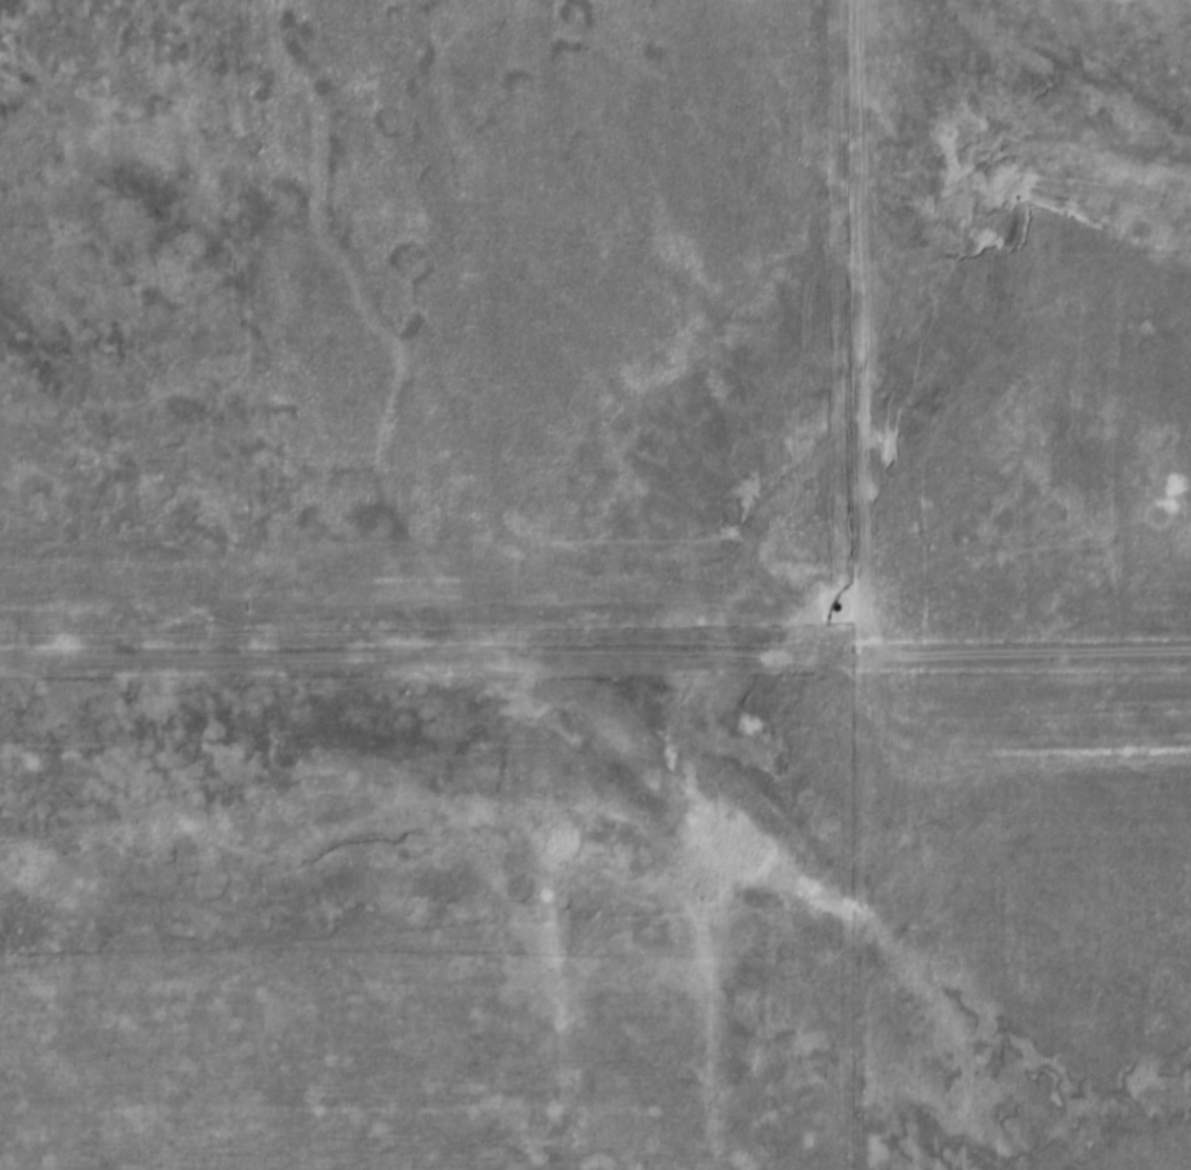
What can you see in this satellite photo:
road: (595, 656)

